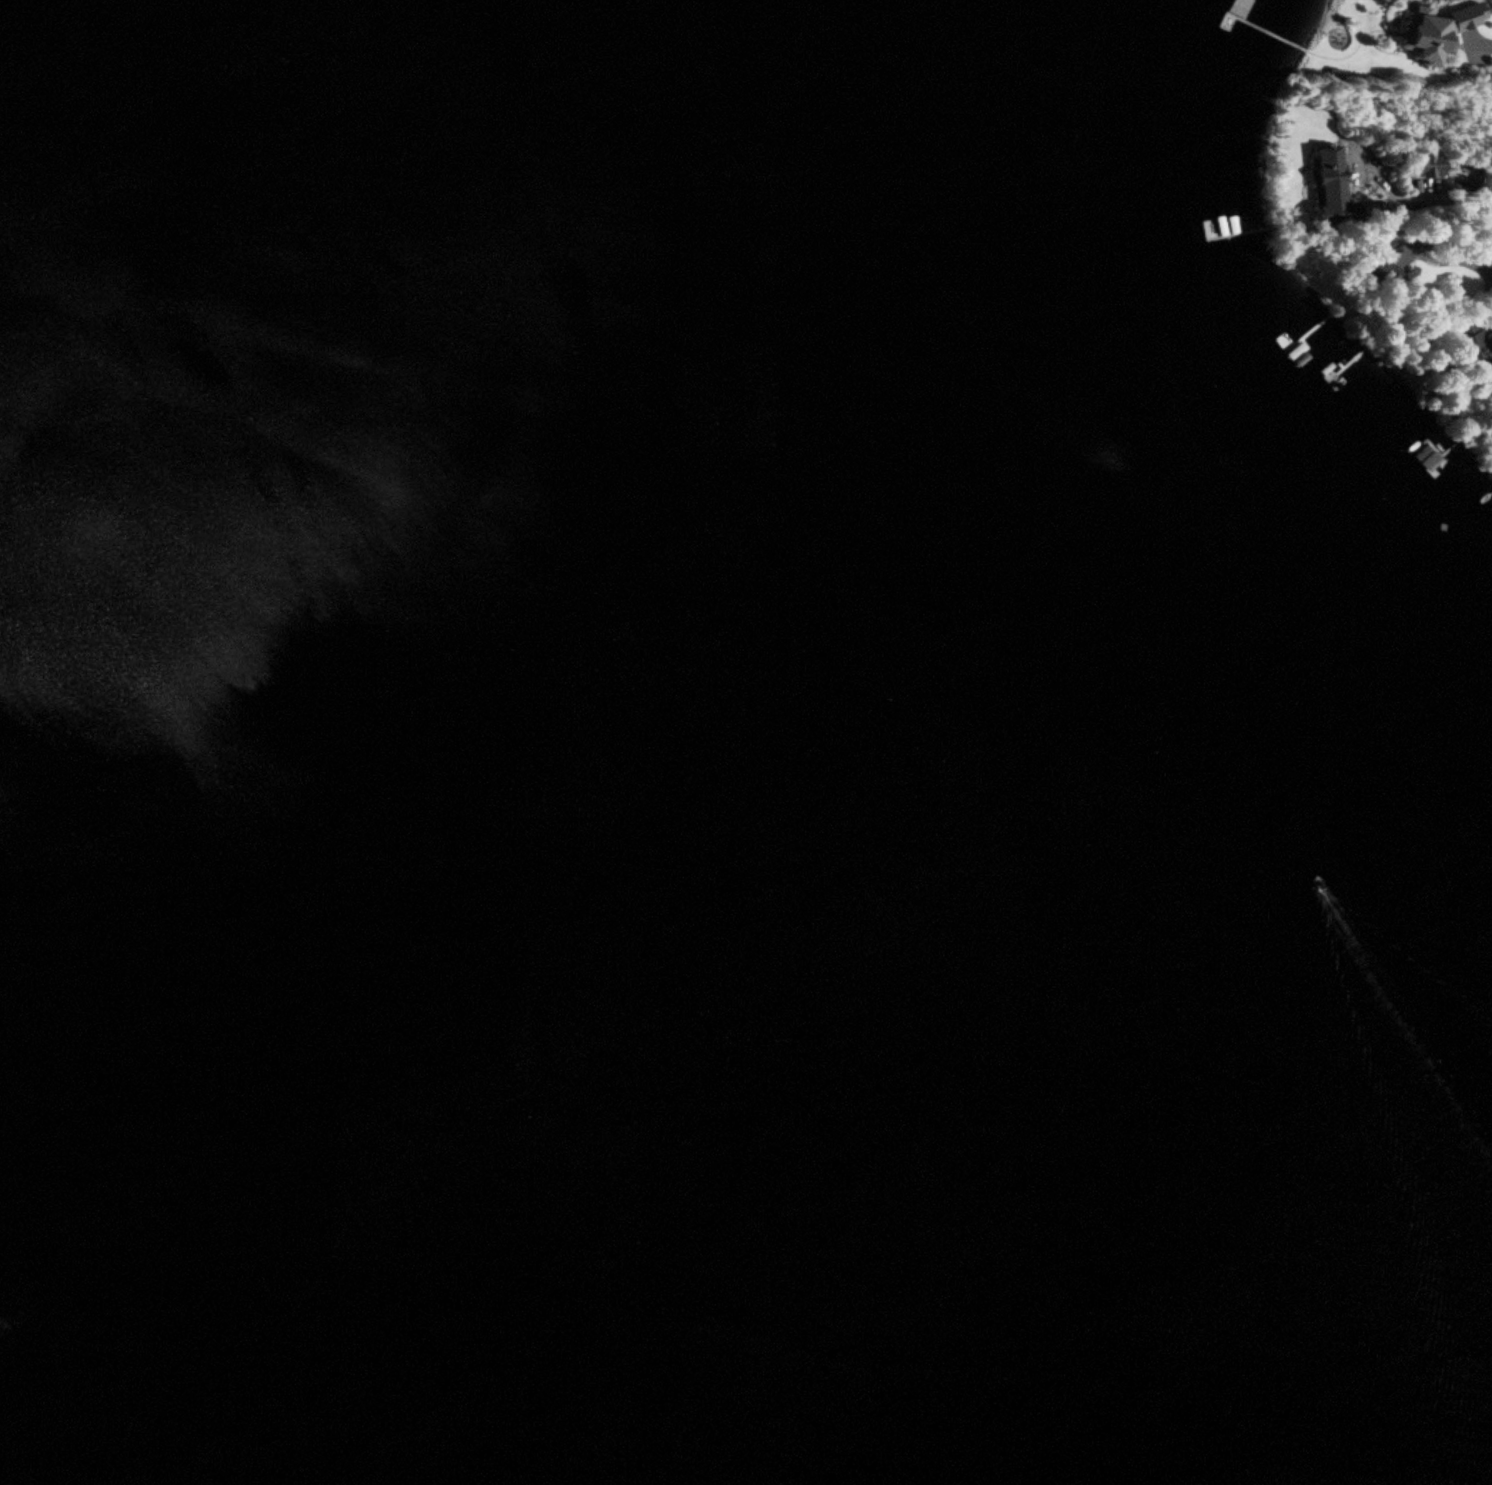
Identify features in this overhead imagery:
building: (1426, 163)
building: (1329, 178)
building: (1213, 226)
building: (1488, 255)
building: (1383, 271)
building: (1472, 342)
building: (1428, 461)

